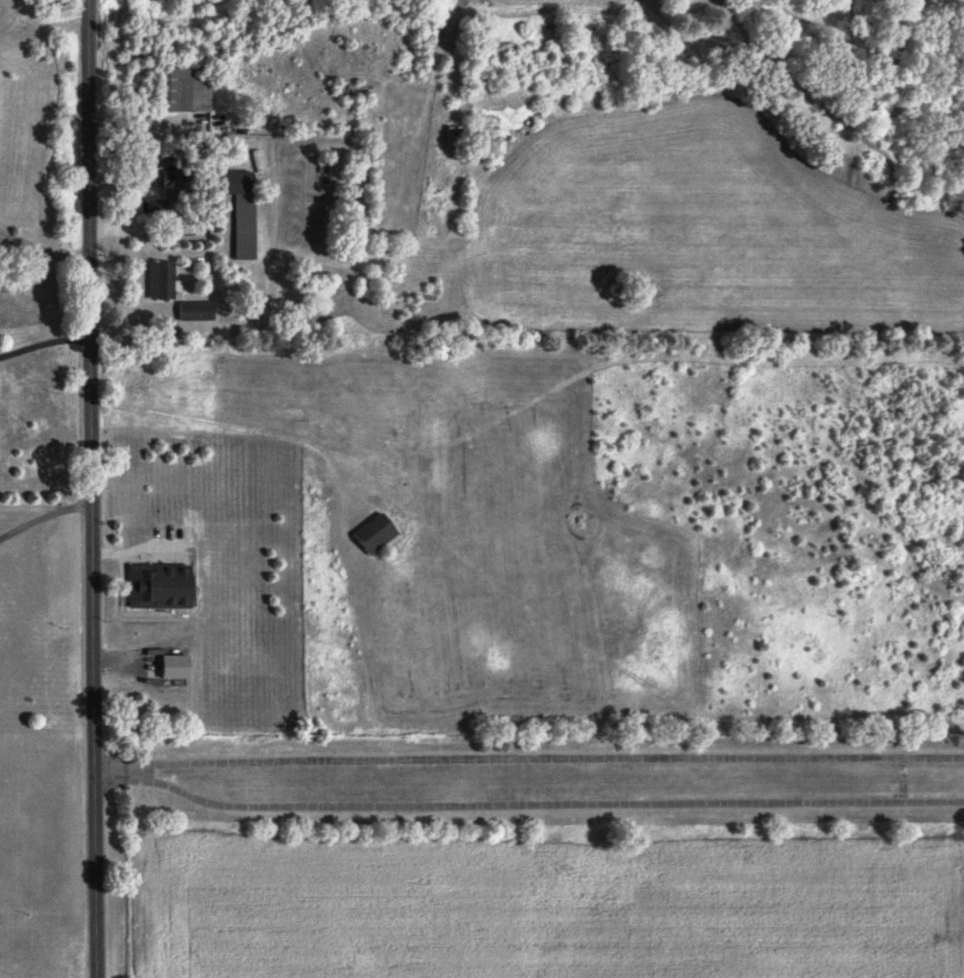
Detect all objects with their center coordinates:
building: (174, 89)
building: (164, 196)
building: (235, 210)
building: (349, 237)
road: (44, 247)
building: (155, 280)
building: (192, 311)
road: (44, 339)
road: (91, 488)
road: (34, 503)
road: (43, 512)
building: (369, 534)
building: (153, 586)
road: (528, 761)
road: (901, 780)
road: (541, 805)

